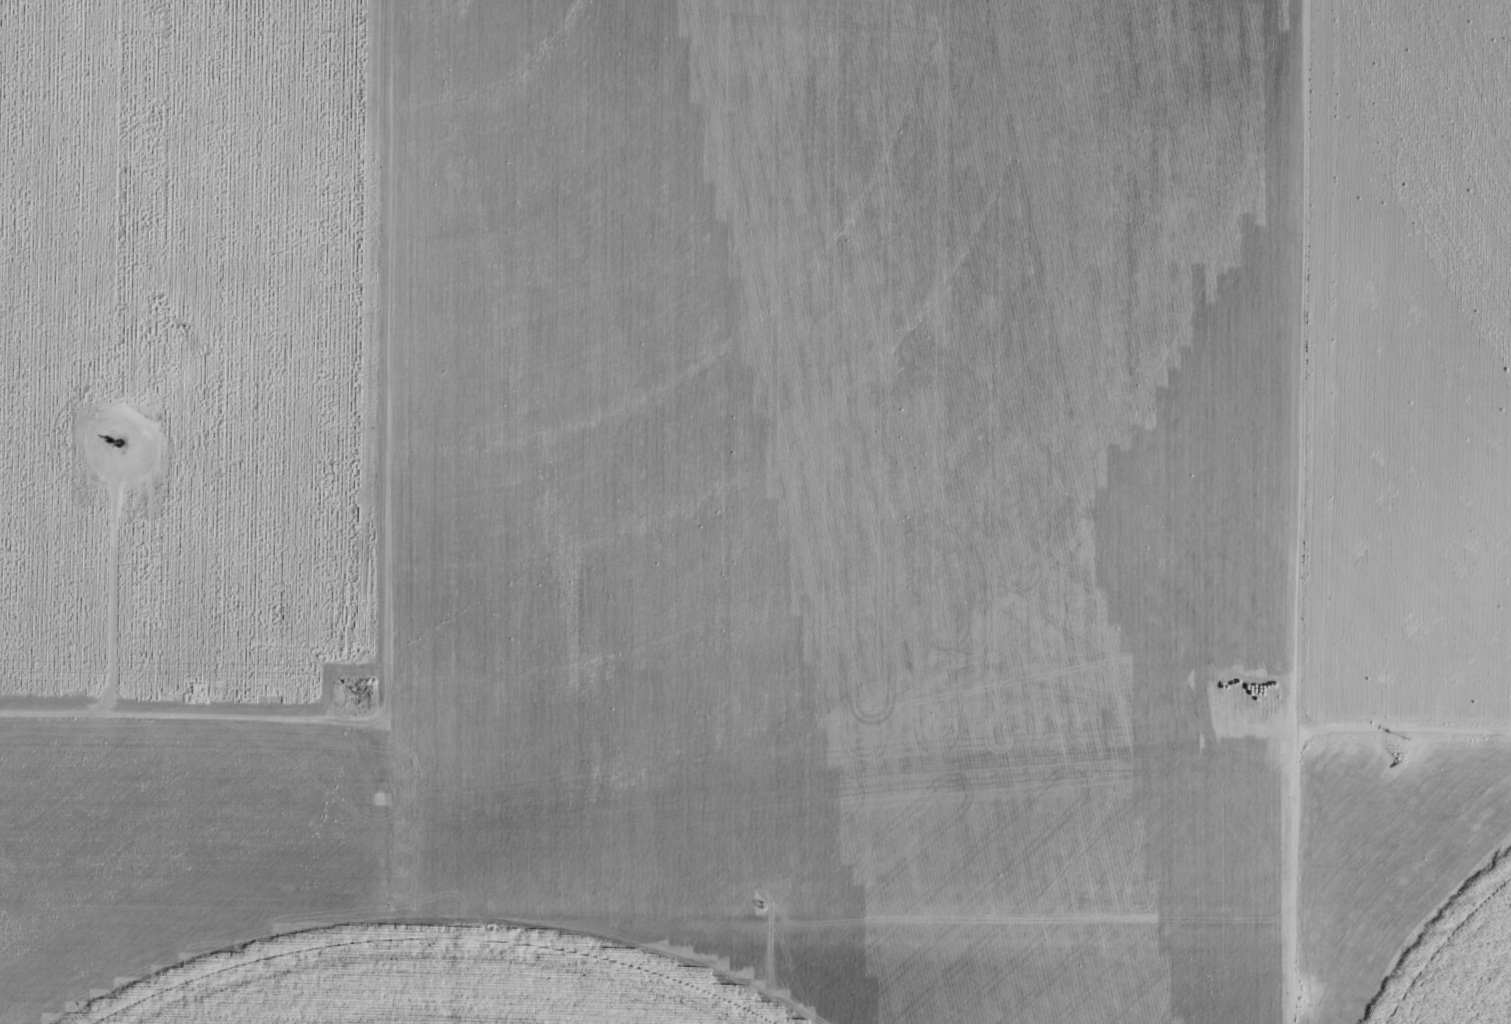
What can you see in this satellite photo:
petroleum well: (111, 442)
road: (1311, 512)
road: (1409, 727)
road: (202, 757)
road: (409, 897)

